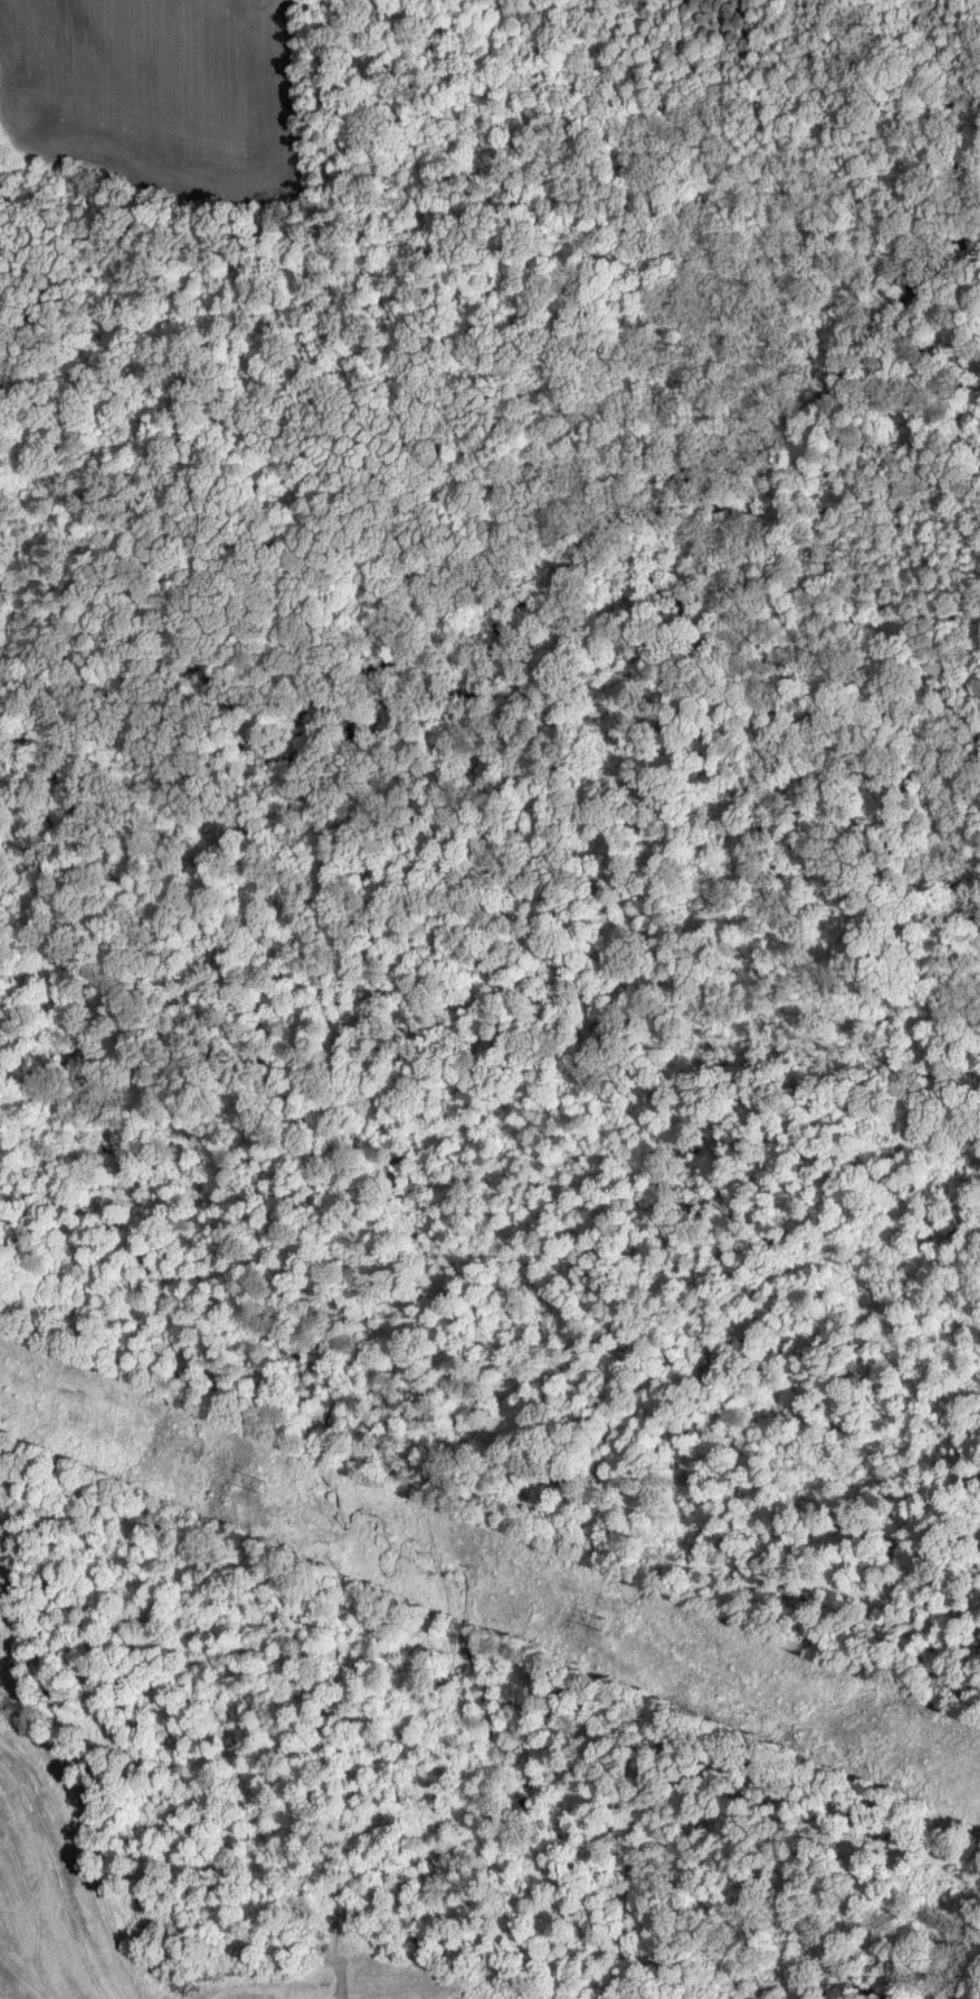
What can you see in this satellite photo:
power tower: (264, 1481)
power tower: (607, 1619)

